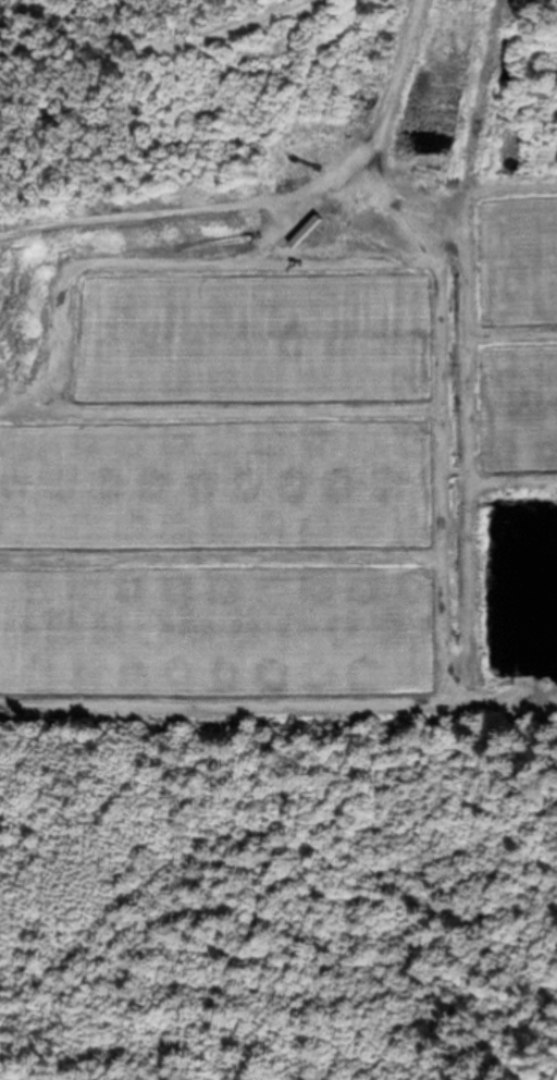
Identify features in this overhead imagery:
road: (146, 46)

